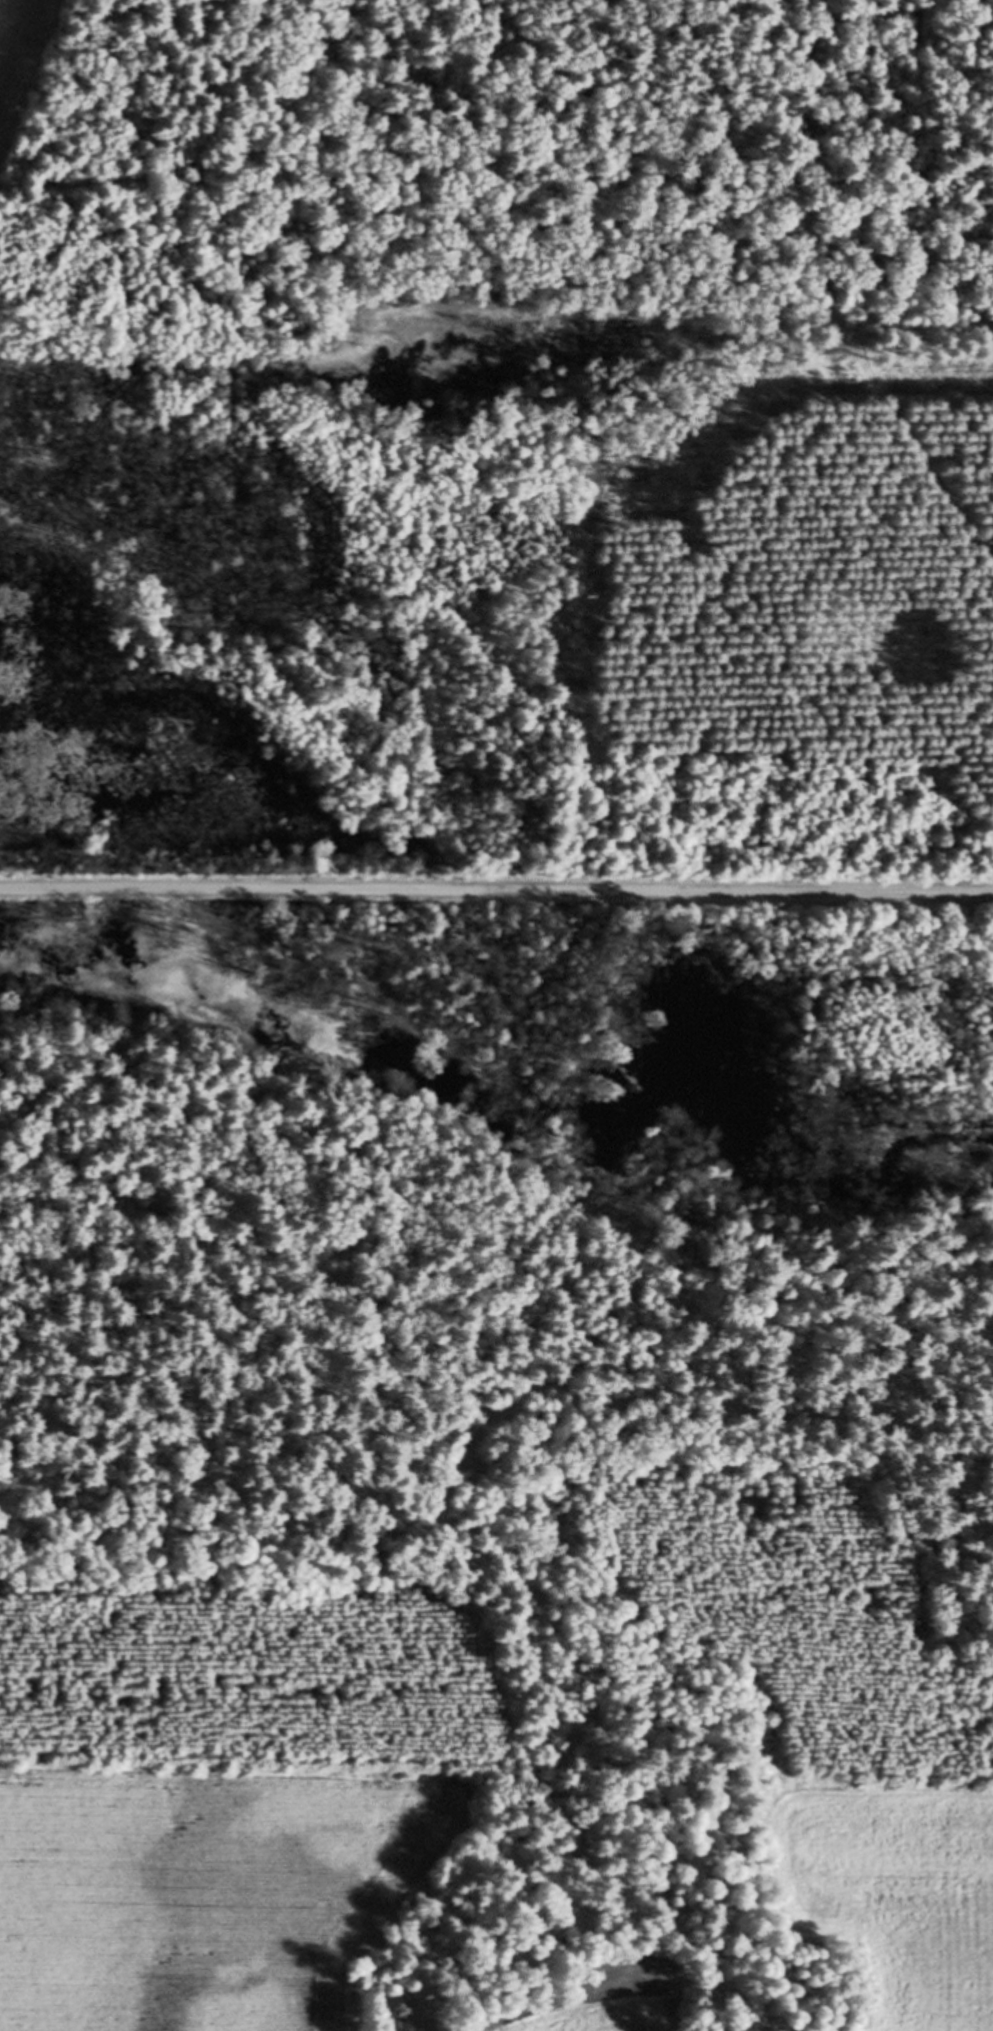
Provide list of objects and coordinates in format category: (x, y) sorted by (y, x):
road: (496, 884)

